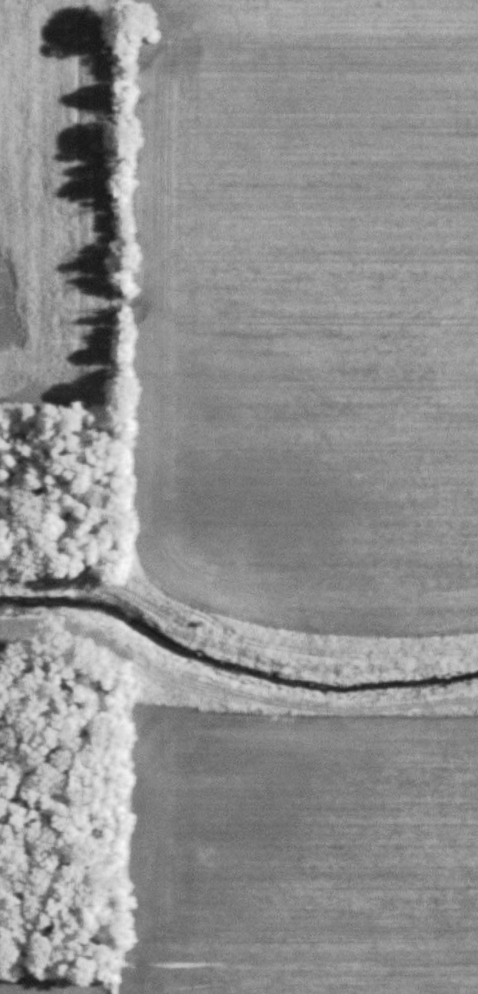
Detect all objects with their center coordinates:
river: (231, 668)

